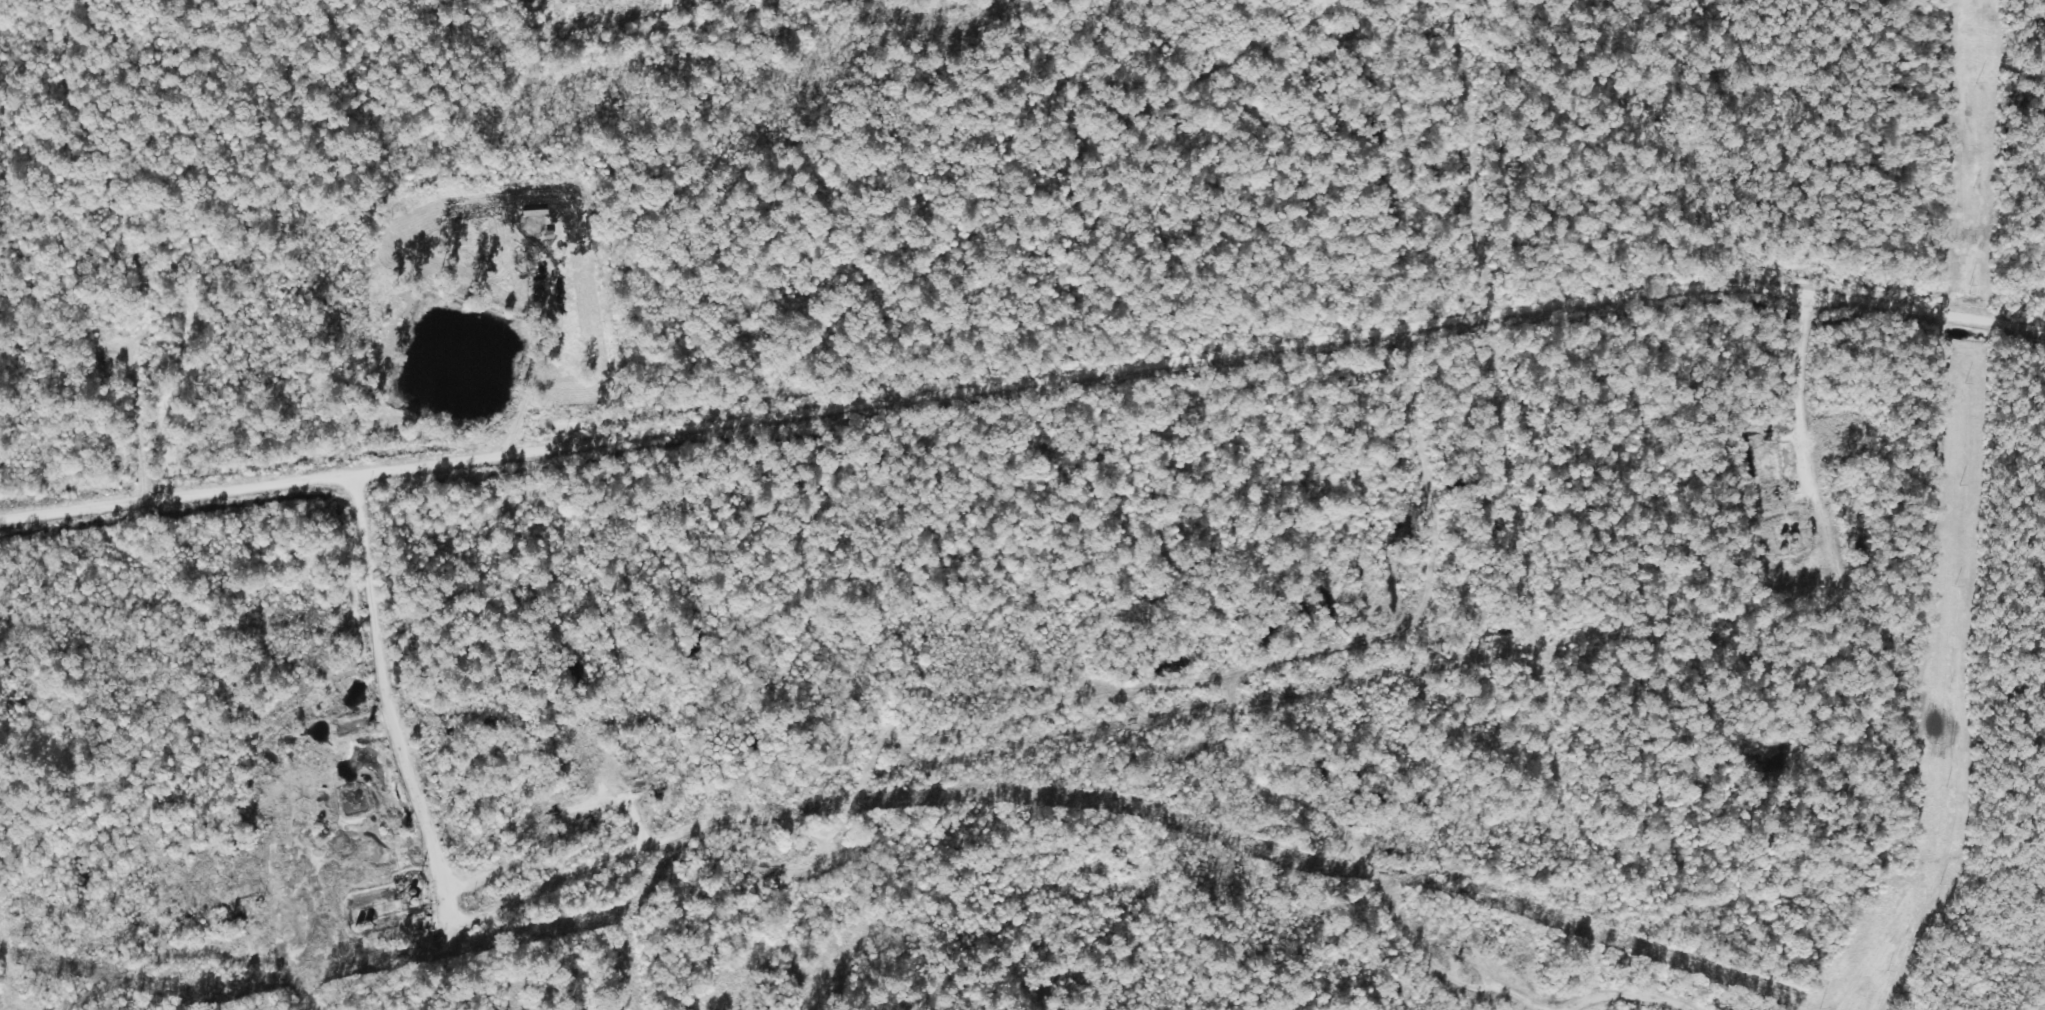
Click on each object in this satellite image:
road: (585, 9)
road: (1988, 30)
road: (1402, 154)
road: (601, 319)
road: (1023, 365)
road: (158, 371)
road: (1810, 437)
road: (1369, 604)
road: (454, 849)
road: (1402, 927)
road: (150, 960)
road: (1688, 1009)

